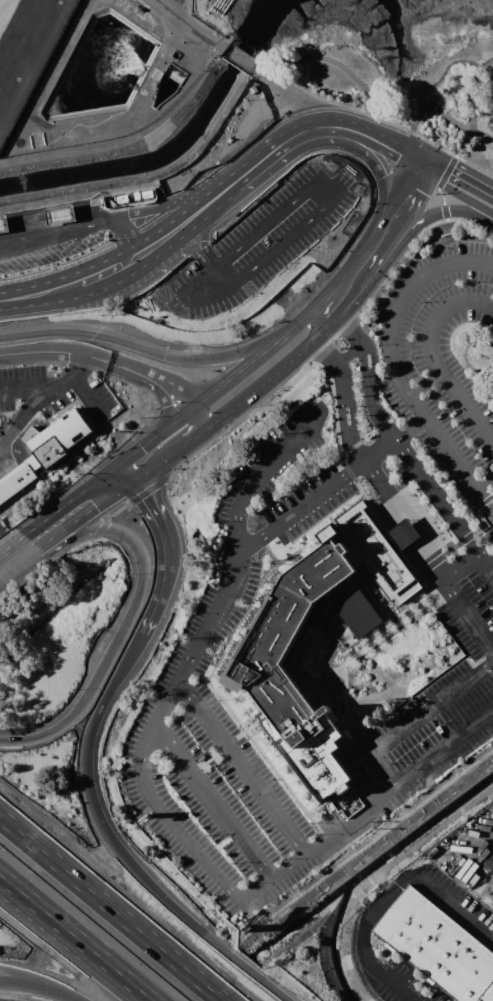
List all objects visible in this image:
road: (190, 23)
road: (237, 55)
road: (160, 62)
airport: (93, 65)
road: (279, 72)
park: (405, 89)
road: (289, 92)
road: (472, 103)
road: (416, 115)
road: (297, 131)
road: (372, 135)
road: (366, 147)
traffic signals: (401, 147)
road: (295, 152)
road: (425, 159)
road: (410, 162)
road: (442, 167)
road: (446, 171)
traffic signals: (450, 172)
road: (431, 174)
road: (415, 177)
traffic signals: (426, 183)
road: (470, 183)
road: (228, 184)
road: (394, 192)
road: (439, 194)
road: (333, 195)
road: (459, 202)
road: (176, 206)
road: (93, 209)
road: (444, 209)
road: (409, 211)
road: (459, 212)
road: (58, 213)
building: (59, 214)
road: (25, 220)
road: (184, 220)
road: (3, 223)
building: (1, 226)
road: (406, 226)
street lamp: (485, 230)
road: (55, 234)
road: (414, 238)
road: (122, 239)
road: (158, 240)
road: (197, 243)
parking lot: (261, 244)
road: (381, 256)
road: (105, 270)
road: (191, 280)
road: (334, 283)
road: (39, 292)
road: (355, 294)
road: (320, 308)
road: (492, 308)
road: (329, 324)
road: (38, 334)
road: (334, 334)
road: (349, 352)
road: (82, 353)
road: (390, 354)
road: (432, 354)
road: (174, 357)
road: (78, 364)
road: (370, 374)
road: (233, 375)
road: (425, 380)
road: (25, 386)
road: (179, 392)
road: (86, 395)
road: (30, 401)
road: (164, 404)
road: (228, 407)
road: (240, 415)
road: (407, 425)
building: (57, 437)
road: (176, 437)
road: (146, 441)
traffic signals: (143, 444)
road: (366, 460)
road: (262, 472)
building: (17, 477)
road: (118, 477)
road: (153, 484)
road: (487, 484)
traffic signals: (146, 495)
road: (315, 495)
road: (487, 496)
road: (148, 499)
road: (442, 505)
road: (61, 506)
traffic signals: (98, 506)
road: (119, 508)
road: (88, 513)
road: (102, 525)
building: (402, 534)
road: (11, 543)
road: (73, 543)
road: (20, 562)
road: (26, 575)
road: (168, 580)
road: (454, 597)
parking lot: (337, 603)
building: (356, 612)
road: (128, 623)
building: (272, 635)
road: (116, 683)
road: (419, 715)
road: (242, 767)
road: (213, 802)
street lamp: (114, 818)
road: (208, 865)
road: (153, 886)
building: (489, 889)
street lamp: (175, 890)
road: (452, 897)
road: (113, 907)
parking lot: (471, 912)
road: (369, 913)
road: (75, 938)
building: (438, 946)
road: (74, 949)
road: (393, 983)
road: (42, 986)

